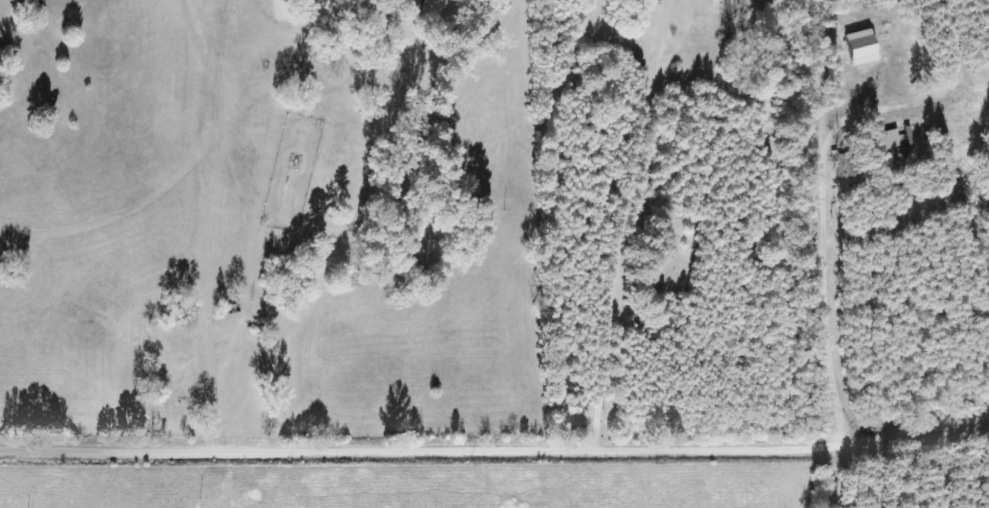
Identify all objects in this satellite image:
road: (209, 225)
road: (631, 226)
road: (497, 450)

